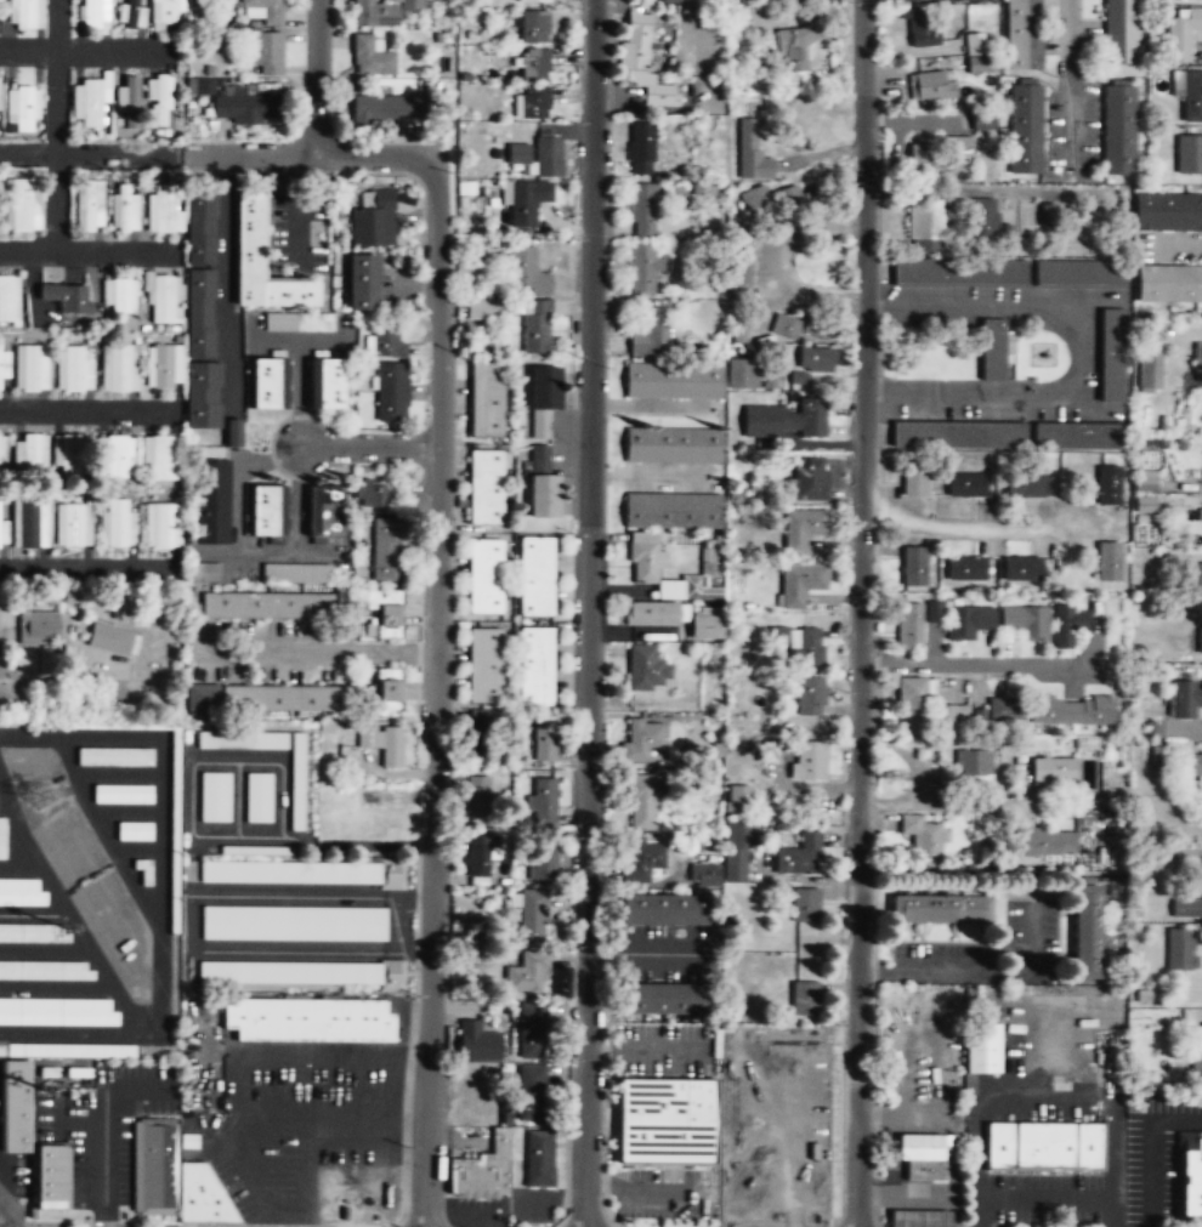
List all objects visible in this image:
building: (535, 0)
building: (668, 0)
building: (914, 0)
building: (979, 0)
building: (166, 10)
building: (265, 10)
building: (382, 11)
building: (90, 13)
building: (129, 13)
building: (25, 15)
building: (765, 17)
building: (924, 29)
building: (533, 32)
building: (1121, 33)
building: (1181, 33)
building: (1022, 35)
building: (635, 42)
road: (1075, 42)
building: (792, 45)
building: (973, 45)
road: (84, 51)
building: (266, 52)
building: (370, 55)
building: (534, 67)
road: (314, 76)
road: (56, 78)
building: (202, 84)
building: (931, 86)
building: (660, 96)
building: (159, 98)
building: (1192, 98)
building: (714, 100)
building: (91, 102)
building: (129, 102)
building: (532, 104)
building: (390, 106)
building: (245, 107)
building: (25, 108)
building: (983, 120)
building: (811, 123)
building: (1025, 130)
building: (1118, 130)
building: (641, 142)
building: (1189, 153)
road: (311, 154)
building: (750, 154)
road: (86, 155)
building: (518, 155)
building: (934, 155)
building: (548, 158)
building: (792, 193)
building: (786, 199)
building: (755, 200)
road: (55, 203)
building: (527, 203)
building: (22, 204)
building: (86, 205)
building: (121, 208)
building: (161, 208)
building: (642, 211)
building: (1168, 211)
building: (1049, 214)
building: (990, 216)
building: (373, 220)
building: (925, 225)
building: (200, 229)
building: (248, 235)
road: (87, 251)
building: (643, 271)
building: (957, 273)
building: (1079, 273)
building: (523, 274)
building: (739, 274)
building: (362, 282)
building: (1168, 282)
building: (118, 294)
building: (64, 295)
building: (5, 296)
building: (159, 297)
building: (200, 311)
building: (482, 311)
building: (296, 322)
building: (535, 328)
building: (796, 328)
building: (651, 336)
building: (387, 343)
road: (1067, 347)
building: (996, 351)
building: (1112, 356)
building: (1198, 356)
building: (4, 363)
building: (161, 364)
building: (812, 364)
building: (28, 367)
building: (70, 367)
building: (115, 367)
building: (1149, 371)
building: (742, 376)
building: (673, 382)
building: (268, 384)
building: (325, 384)
building: (391, 392)
building: (203, 394)
building: (487, 399)
building: (543, 399)
road: (85, 410)
building: (786, 420)
building: (233, 432)
building: (959, 436)
building: (1078, 436)
building: (673, 445)
road: (373, 447)
building: (1, 450)
building: (28, 450)
building: (64, 451)
building: (113, 453)
building: (159, 454)
building: (810, 479)
building: (1145, 481)
building: (913, 482)
building: (542, 484)
building: (1109, 485)
building: (486, 487)
building: (965, 487)
building: (1025, 487)
building: (373, 496)
building: (212, 504)
building: (1145, 504)
building: (673, 510)
building: (267, 512)
building: (324, 512)
building: (1200, 515)
building: (28, 521)
building: (72, 523)
building: (115, 523)
building: (161, 523)
road: (952, 527)
building: (803, 529)
building: (4, 530)
building: (386, 550)
building: (1109, 562)
road: (84, 566)
building: (913, 567)
building: (965, 569)
building: (1022, 569)
building: (653, 570)
building: (203, 572)
building: (296, 573)
building: (1198, 573)
building: (484, 576)
building: (537, 576)
building: (800, 581)
building: (709, 593)
building: (266, 606)
building: (382, 613)
road: (588, 613)
road: (858, 613)
building: (652, 615)
building: (968, 621)
building: (1026, 621)
building: (914, 623)
building: (1068, 624)
building: (707, 626)
building: (39, 627)
building: (1201, 640)
building: (112, 641)
building: (805, 648)
road: (964, 664)
building: (484, 666)
building: (534, 666)
building: (647, 669)
road: (436, 692)
building: (387, 694)
building: (203, 695)
building: (810, 698)
building: (285, 699)
building: (1186, 699)
building: (913, 701)
building: (1071, 710)
building: (1003, 711)
building: (953, 718)
building: (365, 734)
building: (478, 739)
building: (640, 739)
building: (242, 740)
building: (543, 742)
building: (391, 745)
building: (114, 757)
building: (809, 762)
building: (973, 765)
building: (1194, 768)
building: (1054, 772)
building: (297, 783)
building: (121, 793)
power tower: (42, 794)
building: (543, 795)
building: (215, 796)
building: (259, 796)
building: (476, 799)
building: (737, 801)
road: (1030, 802)
building: (642, 803)
building: (380, 814)
building: (134, 830)
building: (2, 837)
building: (920, 842)
building: (1048, 843)
building: (257, 850)
building: (737, 850)
building: (480, 856)
building: (799, 857)
building: (641, 862)
building: (542, 864)
building: (144, 871)
building: (301, 873)
building: (704, 877)
building: (21, 891)
building: (805, 907)
building: (1186, 909)
building: (941, 910)
building: (664, 911)
building: (531, 916)
building: (294, 922)
building: (1088, 932)
building: (32, 933)
building: (1180, 950)
building: (45, 968)
building: (300, 972)
building: (526, 975)
building: (665, 1000)
building: (804, 1000)
building: (56, 1011)
building: (307, 1019)
building: (531, 1033)
building: (480, 1046)
building: (982, 1050)
building: (1196, 1057)
road: (243, 1058)
building: (531, 1095)
road: (1044, 1102)
building: (15, 1106)
road: (329, 1107)
building: (663, 1123)
road: (102, 1131)
building: (188, 1141)
building: (1044, 1147)
road: (1150, 1147)
building: (922, 1154)
building: (538, 1155)
road: (305, 1166)
building: (483, 1166)
building: (52, 1176)
building: (172, 1177)
building: (1192, 1180)
building: (771, 1181)
road: (1043, 1197)
building: (920, 1219)
road: (4, 1220)

